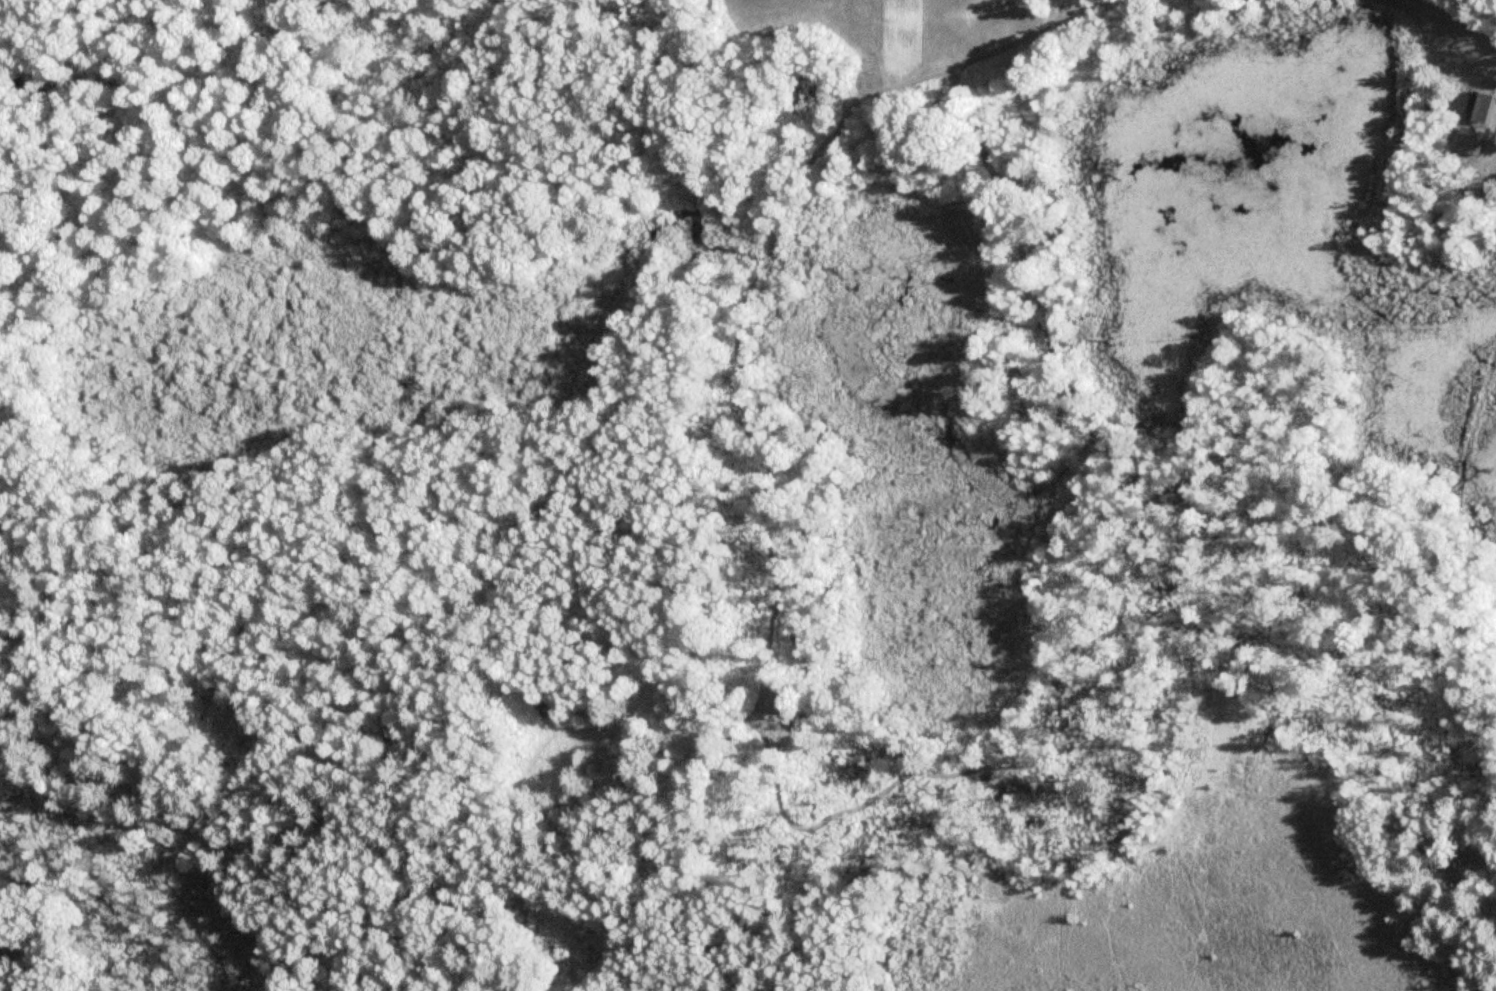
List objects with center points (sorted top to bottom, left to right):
building: (1436, 64)
building: (1476, 107)

